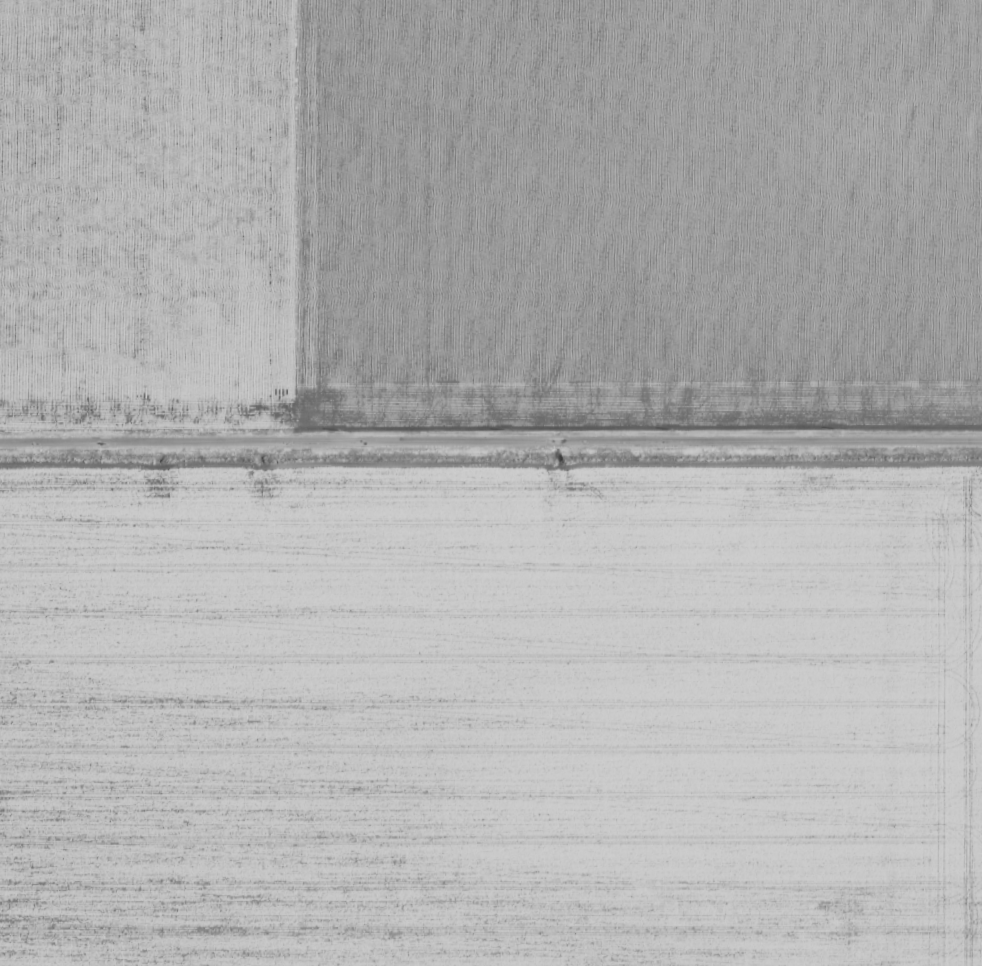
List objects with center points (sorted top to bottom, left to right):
road: (491, 446)

